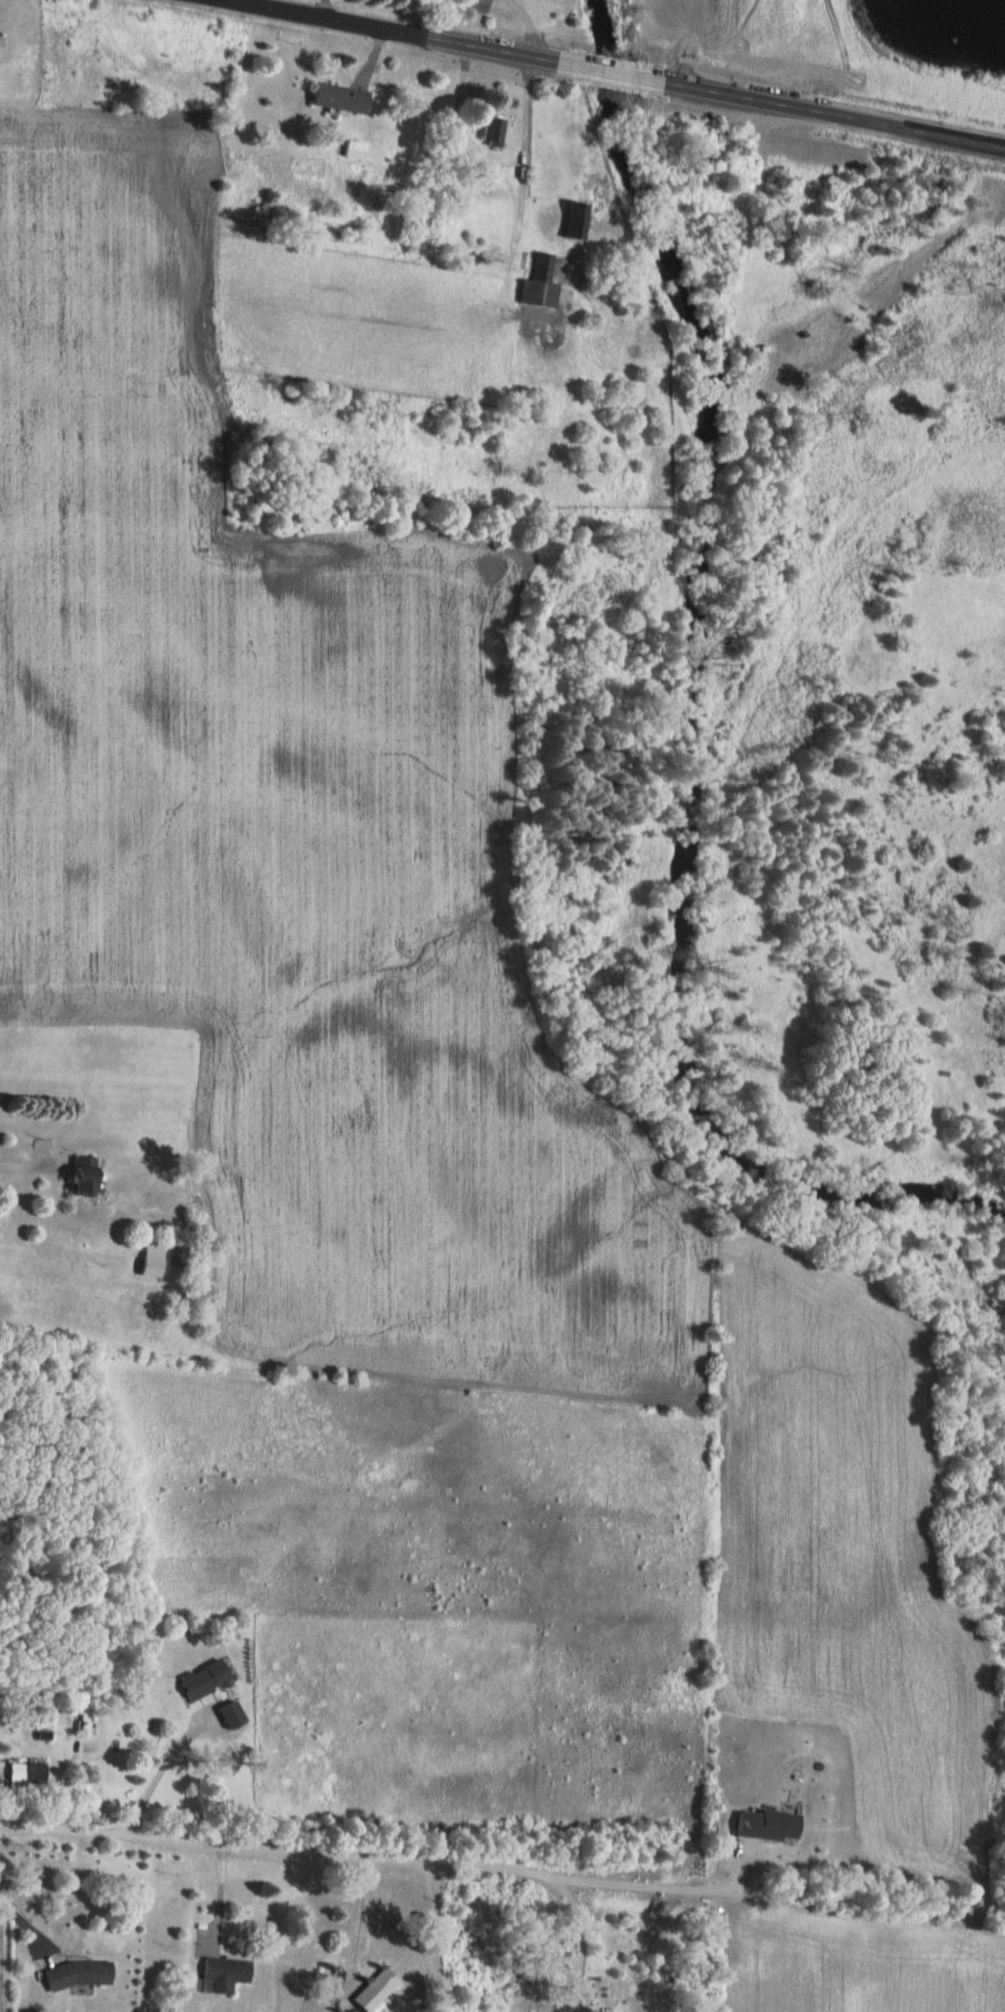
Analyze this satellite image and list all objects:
building: (467, 6)
road: (625, 70)
building: (334, 98)
building: (489, 132)
building: (353, 149)
building: (570, 229)
building: (536, 285)
road: (27, 1159)
building: (75, 1177)
building: (144, 1268)
building: (195, 1681)
building: (224, 1714)
building: (23, 1772)
road: (165, 1774)
road: (277, 1846)
road: (652, 1879)
road: (16, 1905)
road: (365, 1920)
road: (451, 1937)
building: (74, 1974)
building: (222, 1975)
building: (371, 1991)

